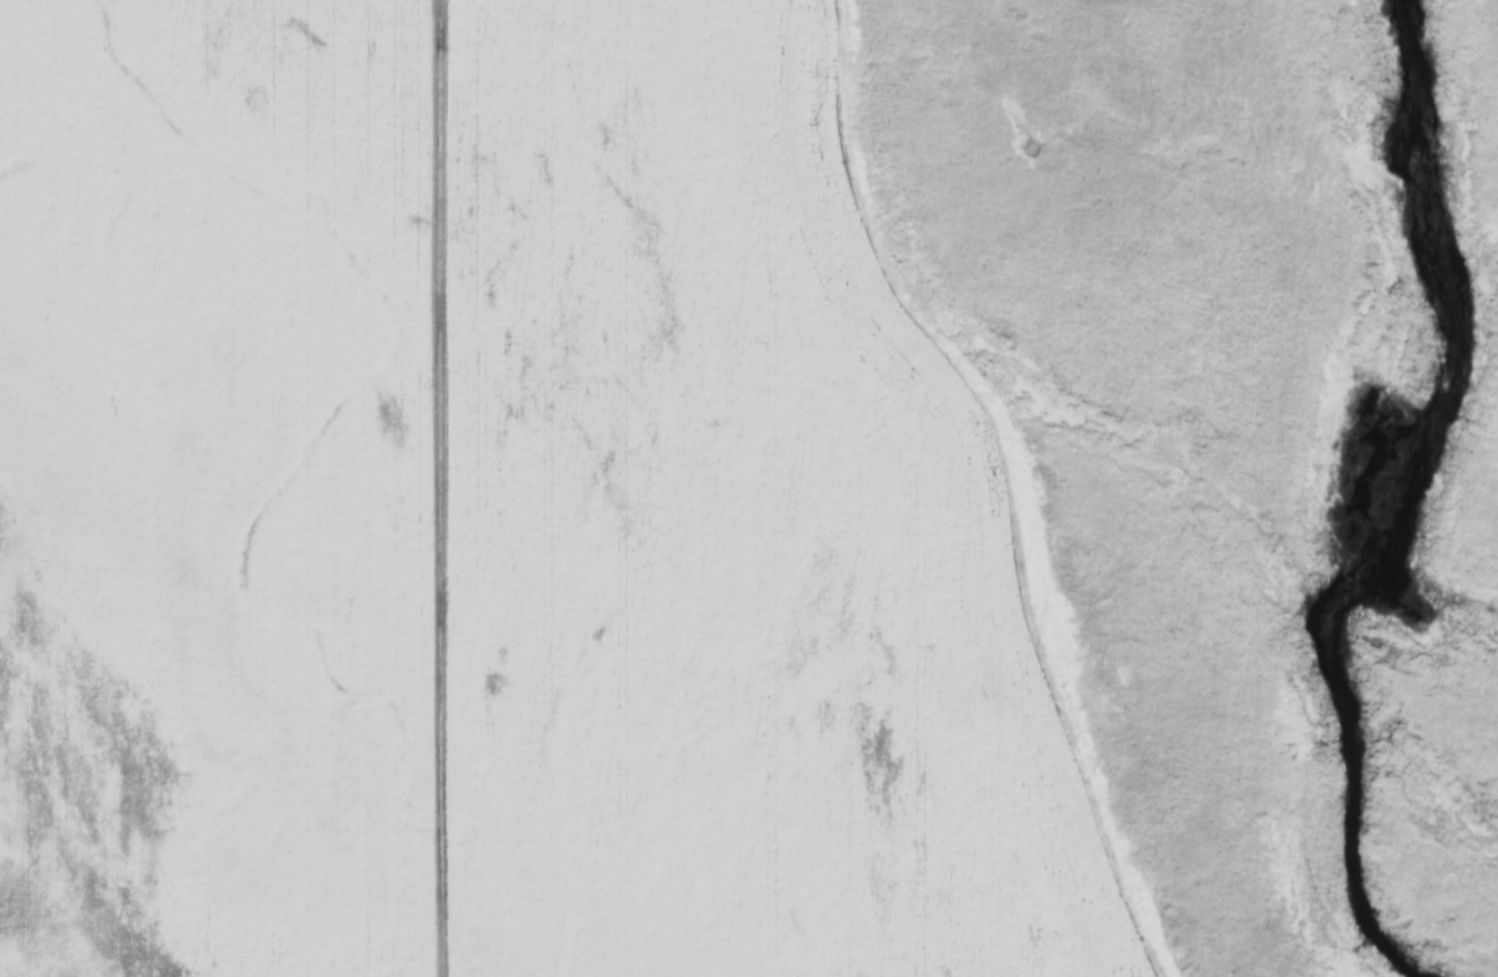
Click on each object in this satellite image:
river: (1366, 502)

